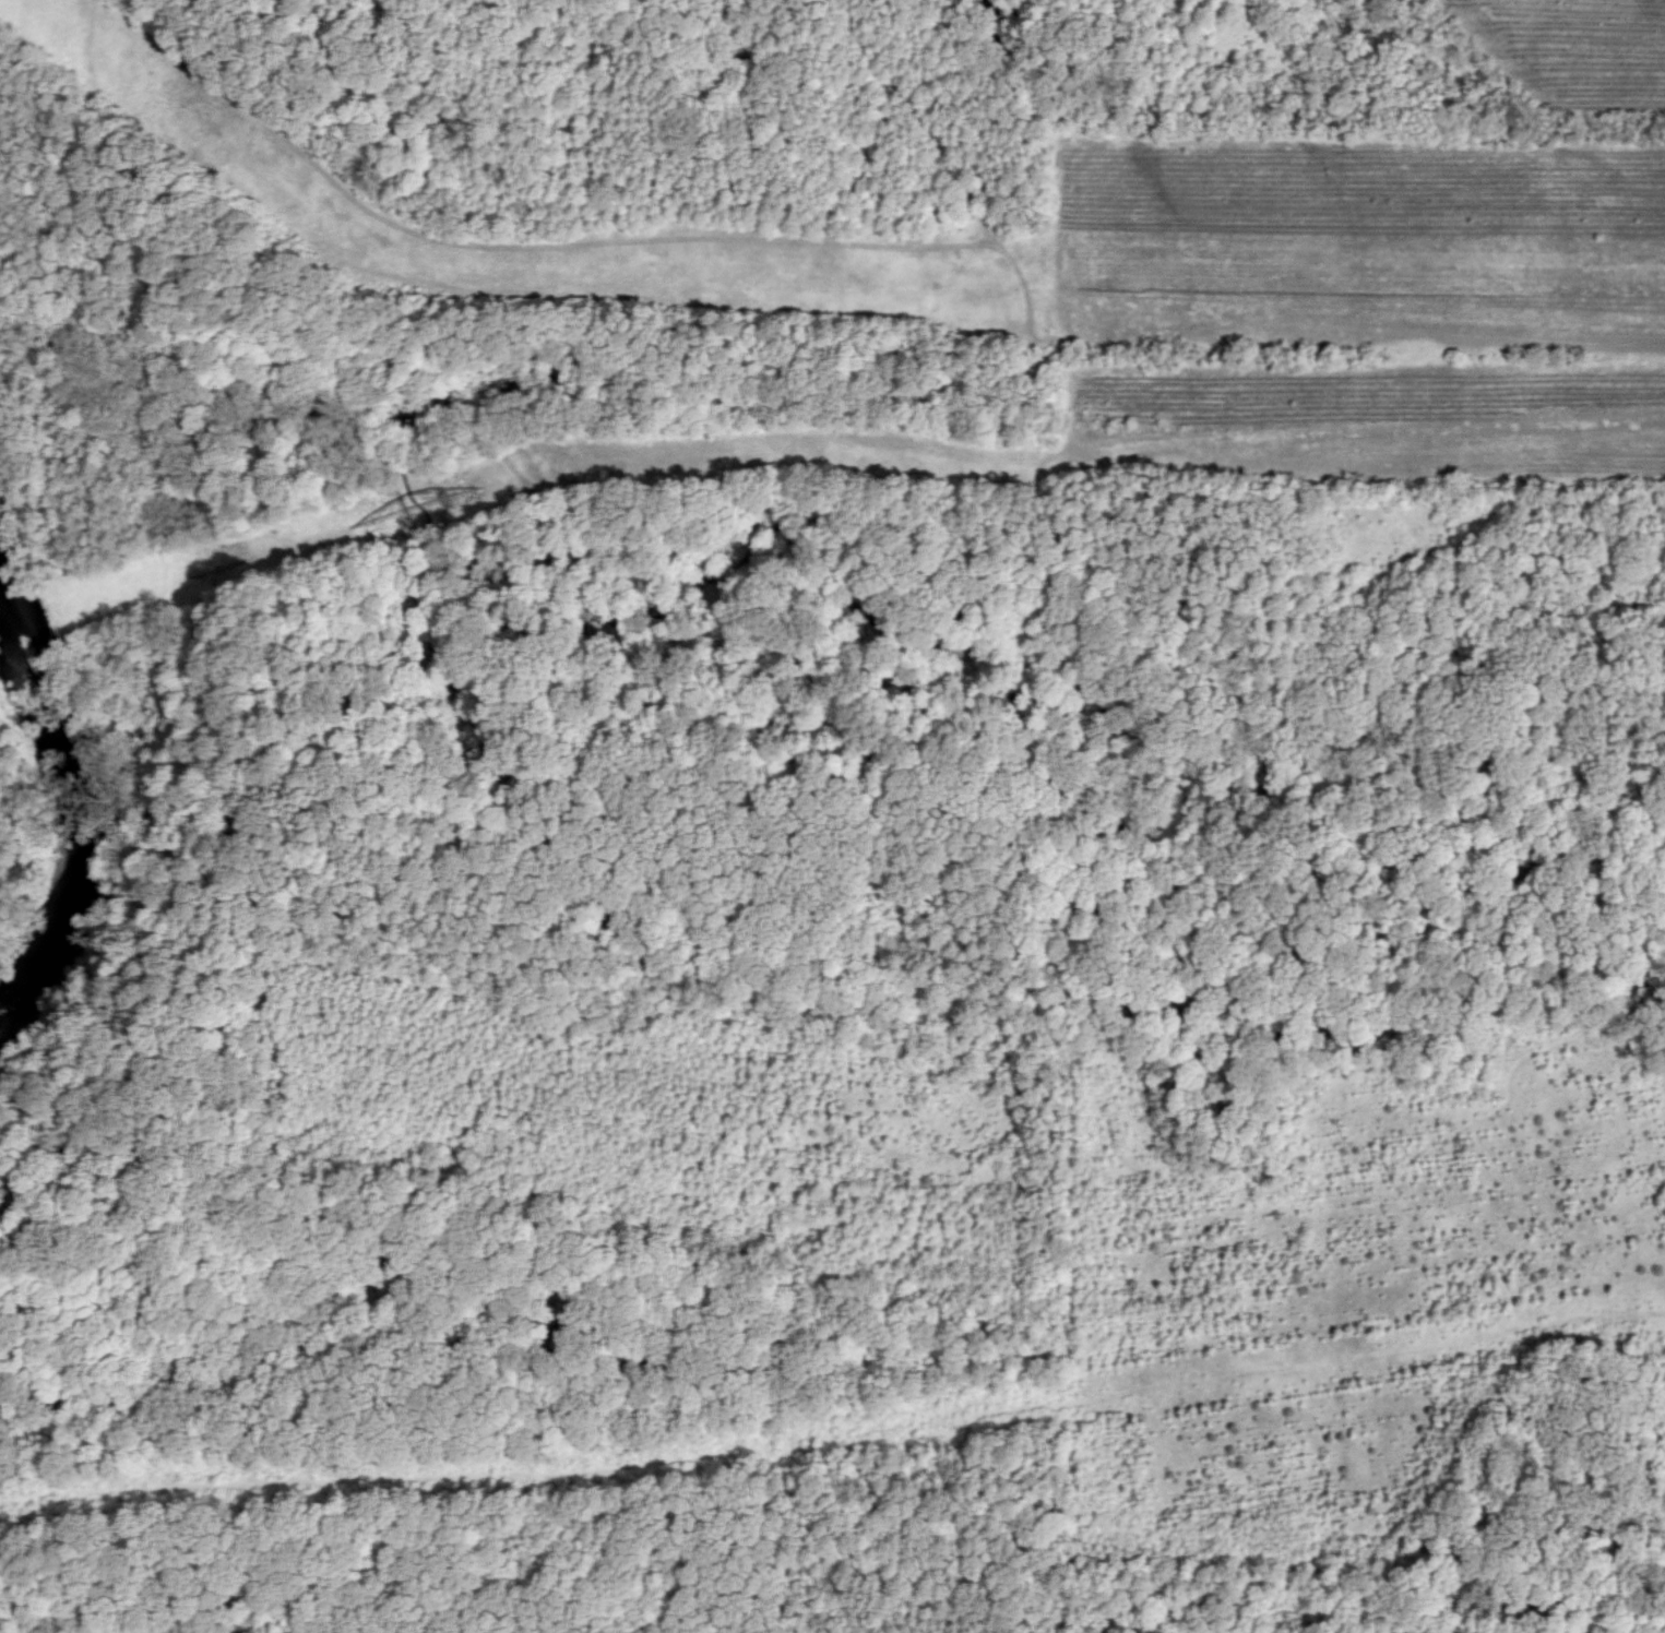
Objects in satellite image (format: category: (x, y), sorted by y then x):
river: (103, 802)

